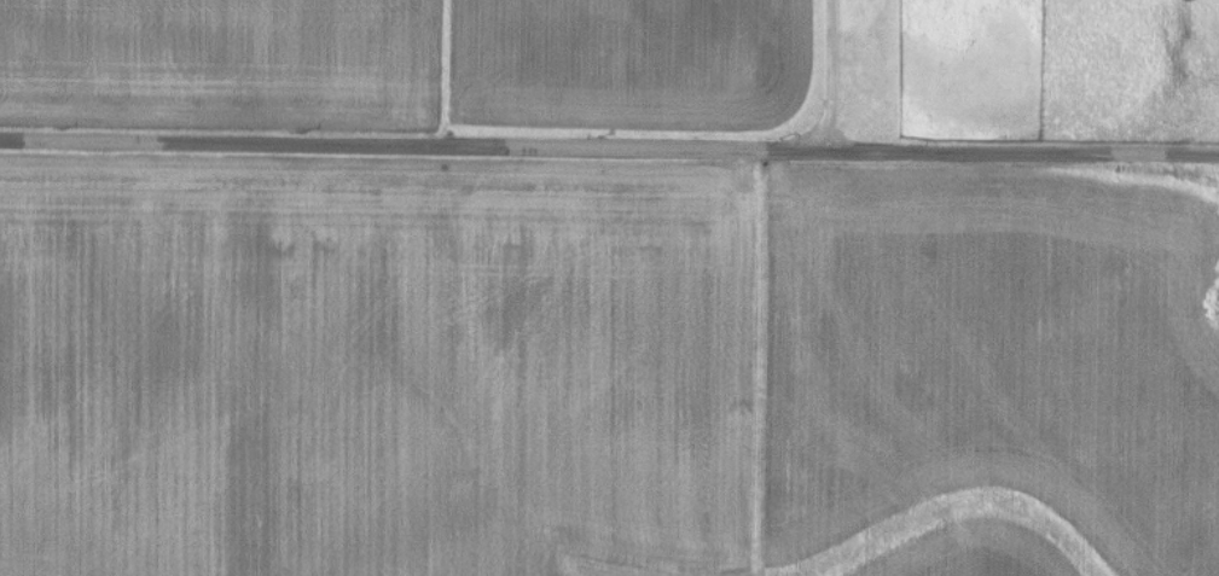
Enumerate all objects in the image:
road: (831, 76)
road: (609, 151)

